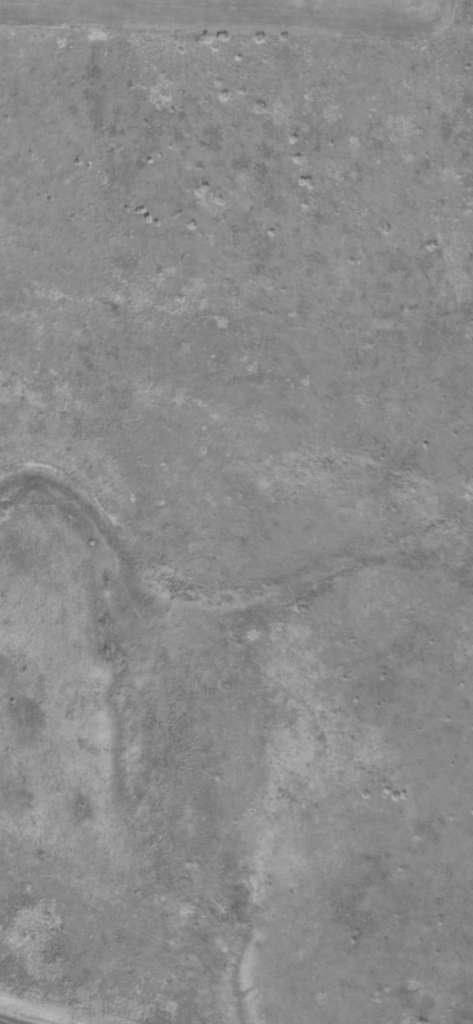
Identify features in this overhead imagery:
road: (1, 1023)

